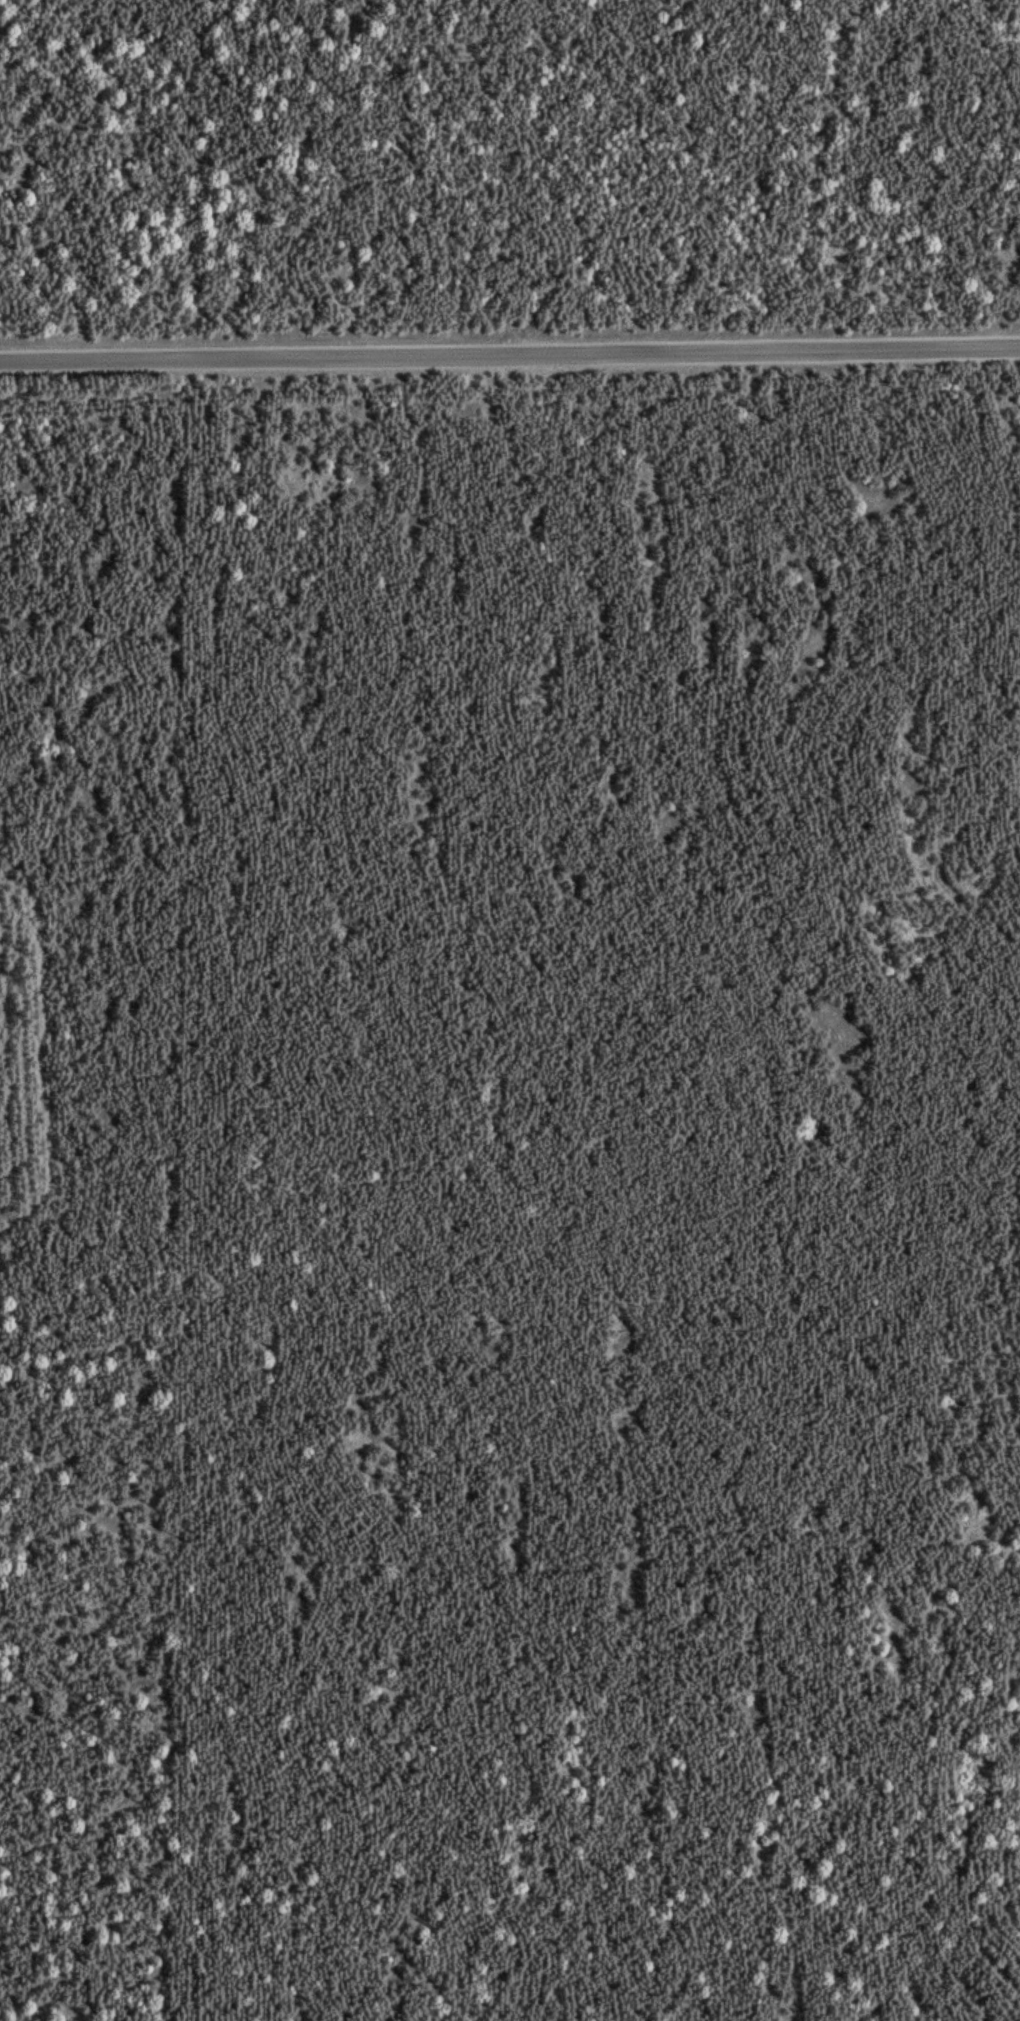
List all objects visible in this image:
road: (510, 364)

